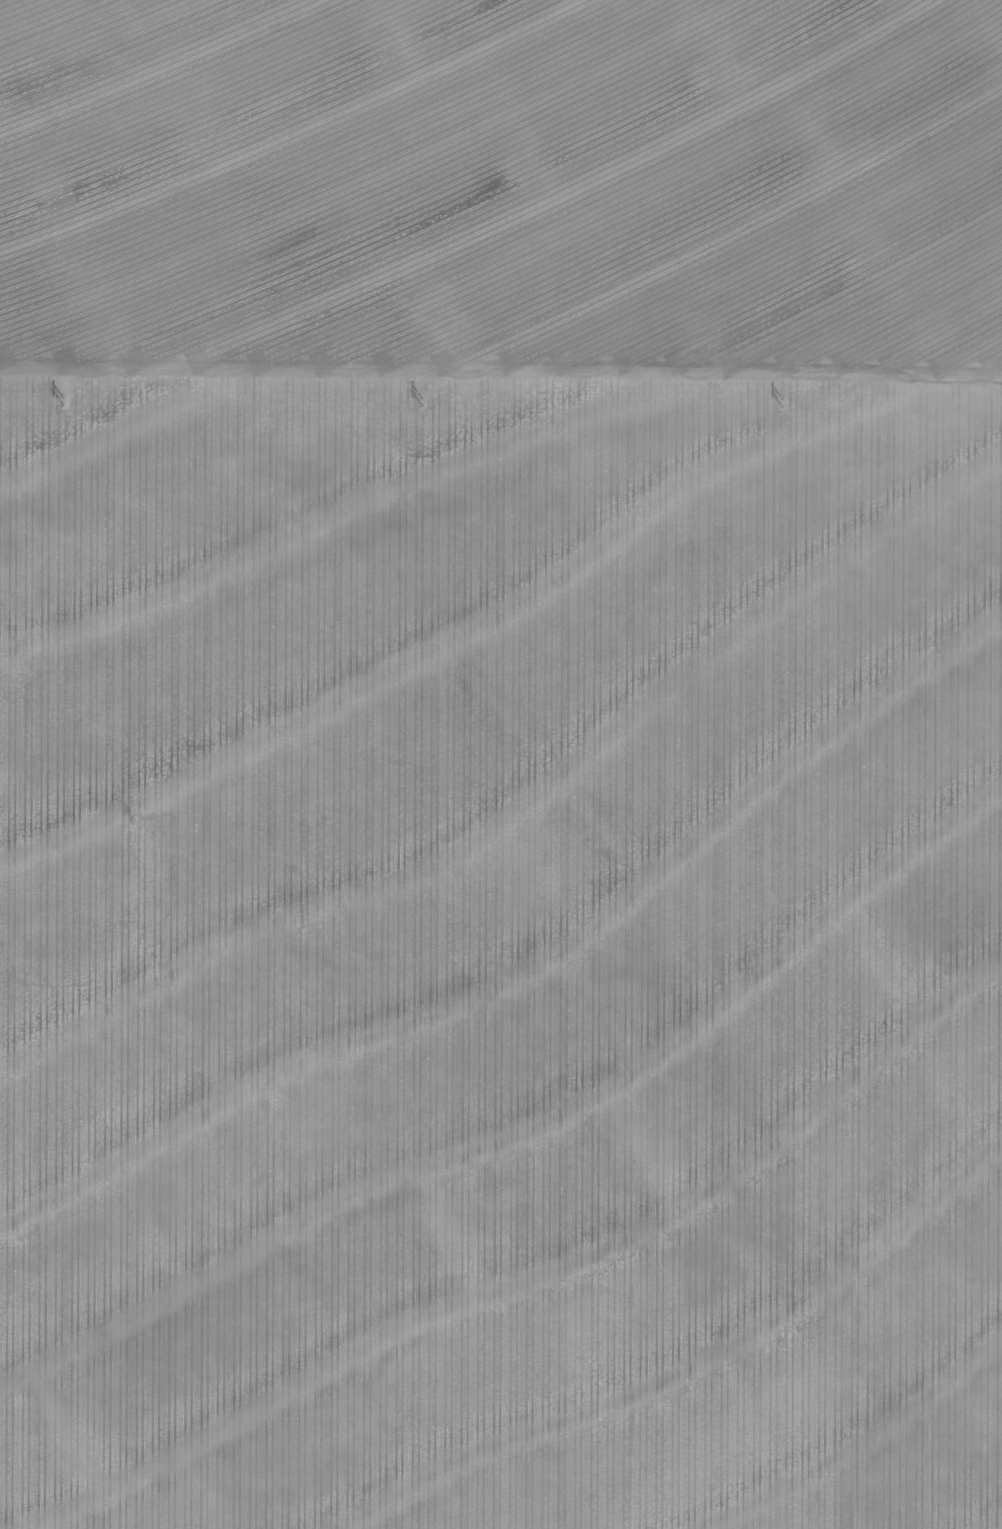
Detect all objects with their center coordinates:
road: (501, 392)
power tower: (60, 397)
power tower: (418, 401)
power tower: (778, 404)

